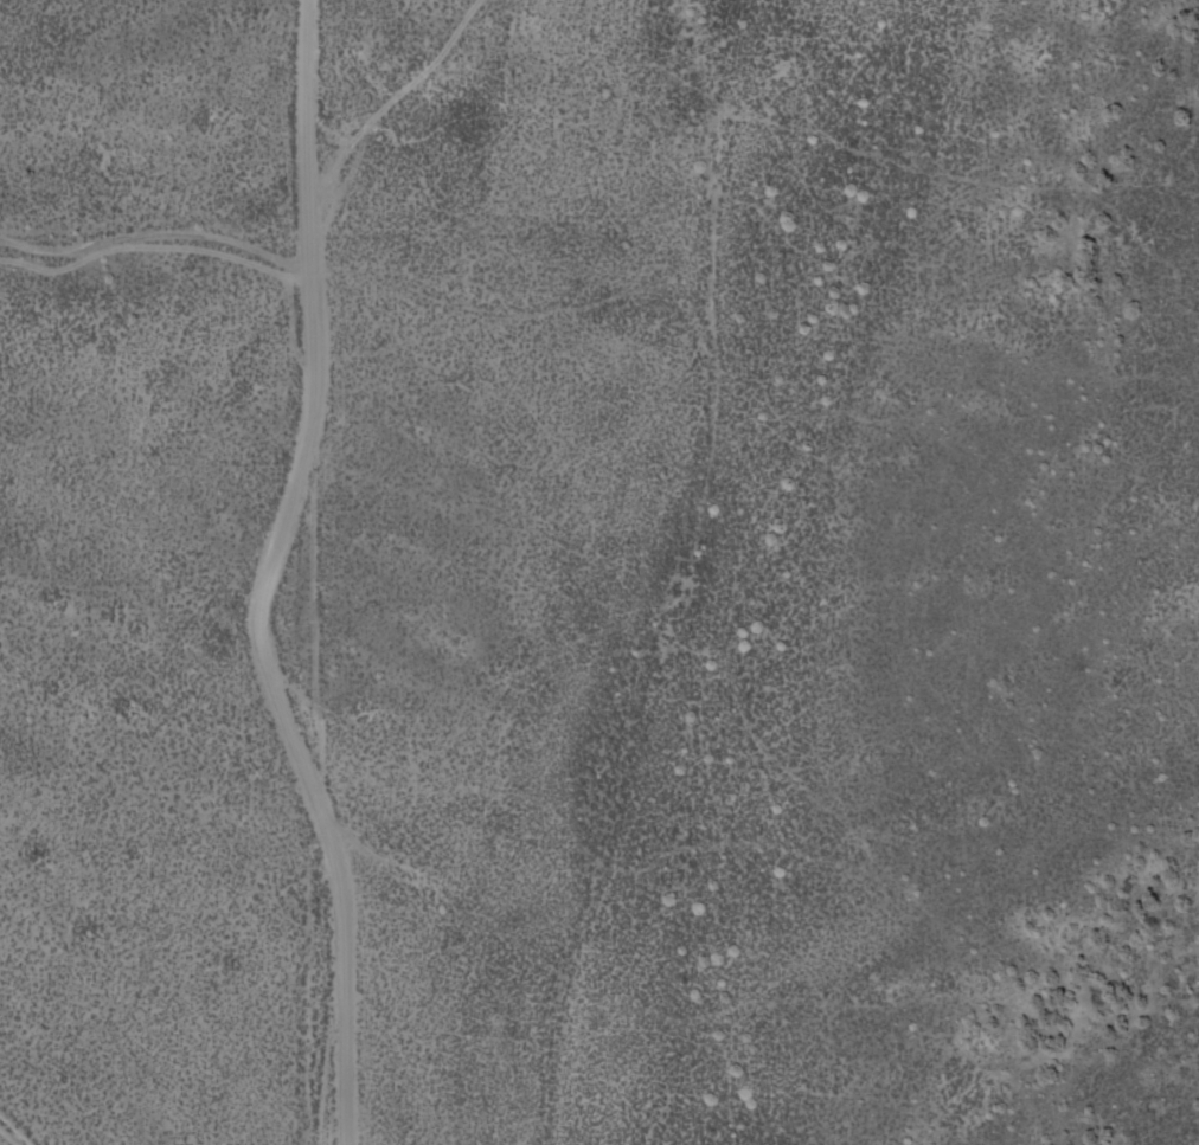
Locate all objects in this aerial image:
road: (168, 226)
road: (308, 583)
road: (12, 1130)

